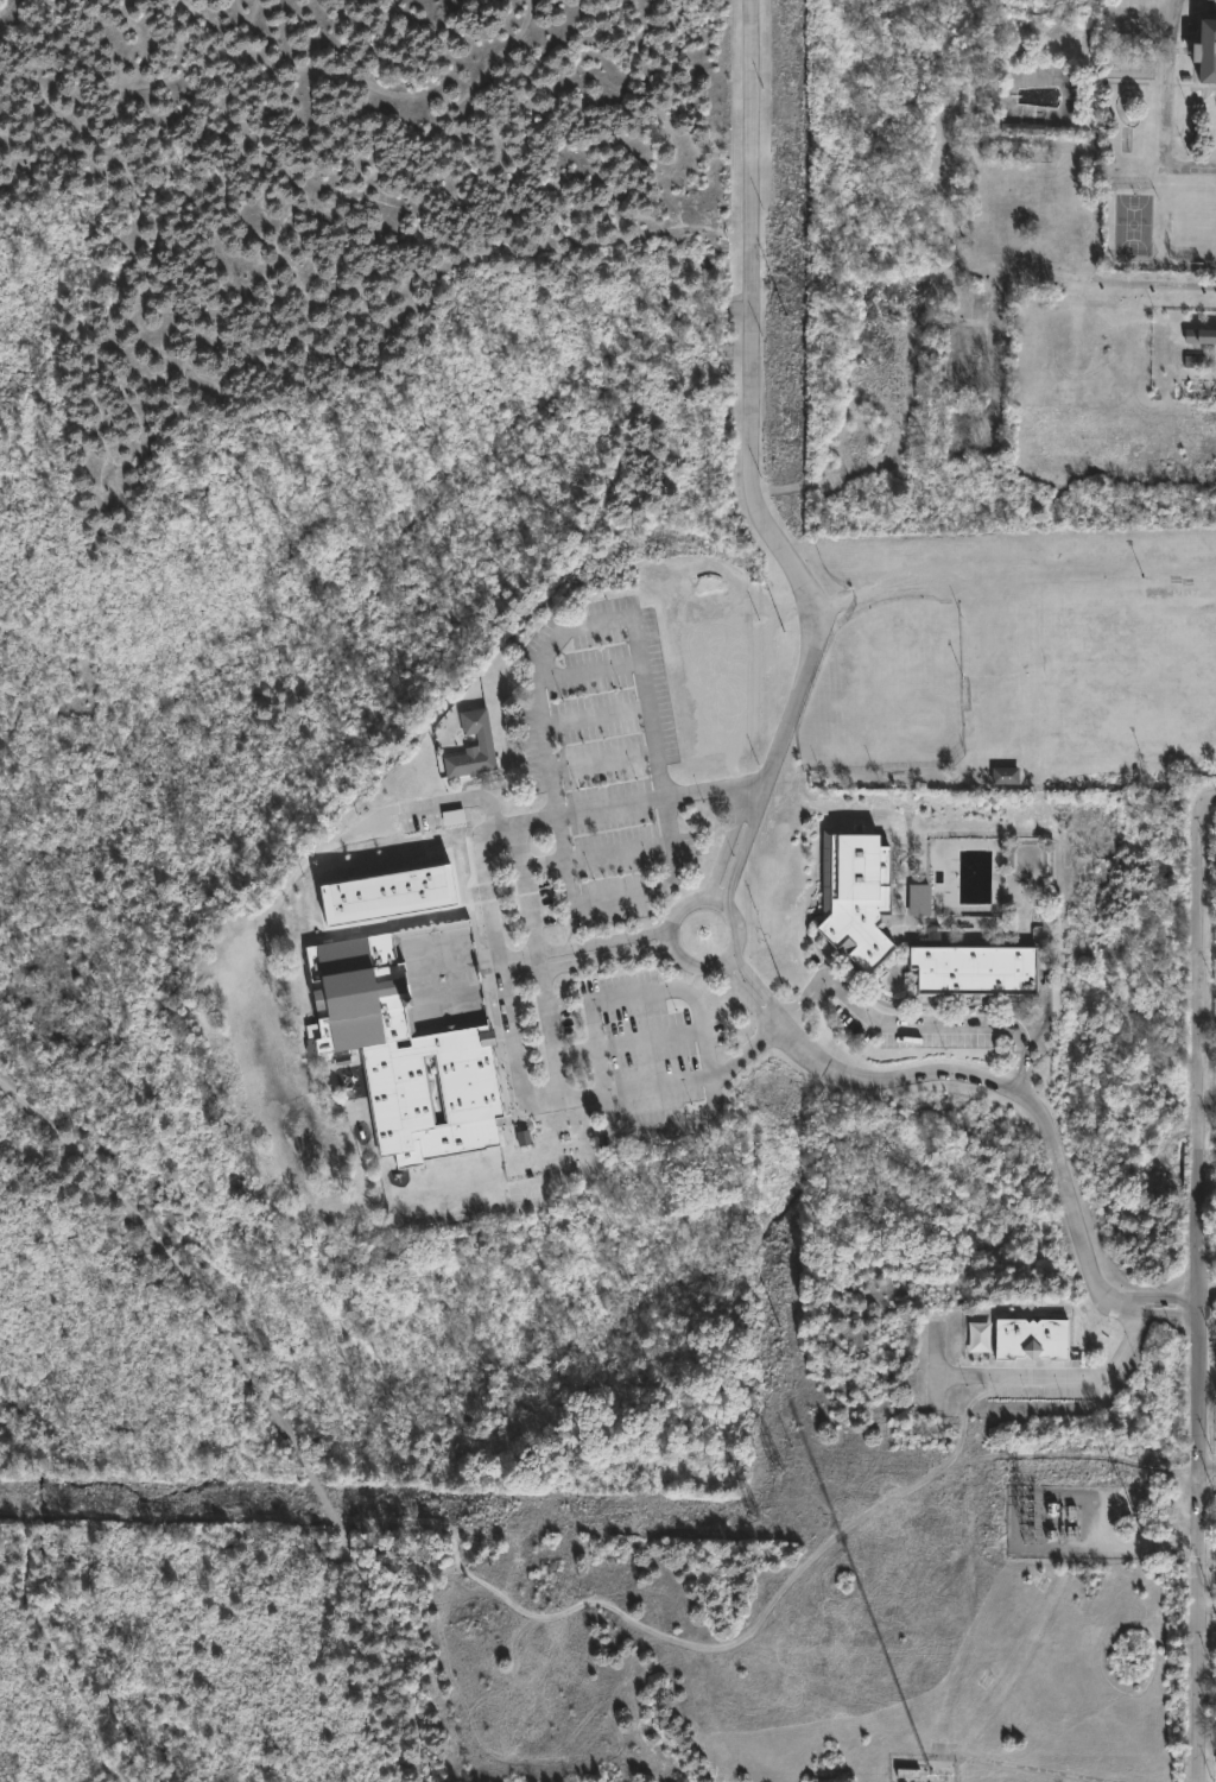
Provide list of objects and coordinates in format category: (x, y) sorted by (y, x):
building: (1204, 49)
building: (1022, 129)
building: (1199, 335)
road: (748, 418)
road: (959, 584)
building: (471, 747)
building: (1005, 776)
road: (467, 795)
road: (723, 849)
road: (619, 851)
road: (740, 857)
building: (854, 895)
road: (532, 950)
road: (534, 961)
road: (685, 961)
road: (518, 965)
building: (974, 968)
road: (502, 978)
road: (758, 985)
road: (615, 997)
road: (743, 998)
road: (798, 1007)
road: (917, 1025)
building: (410, 1031)
road: (648, 1041)
road: (1021, 1070)
road: (1002, 1087)
road: (1202, 1288)
road: (1155, 1295)
road: (1153, 1313)
building: (978, 1336)
building: (1030, 1338)
road: (1068, 1375)
parking lot: (1044, 1392)
railway: (266, 1402)
power tower: (779, 1474)
road: (1209, 1478)
power tower: (1030, 1509)
power tower: (413, 1512)
power tower: (755, 1521)
power substation: (1077, 1523)
power tower: (1032, 1533)
building: (1214, 1755)
building: (943, 1774)
building: (908, 1775)

